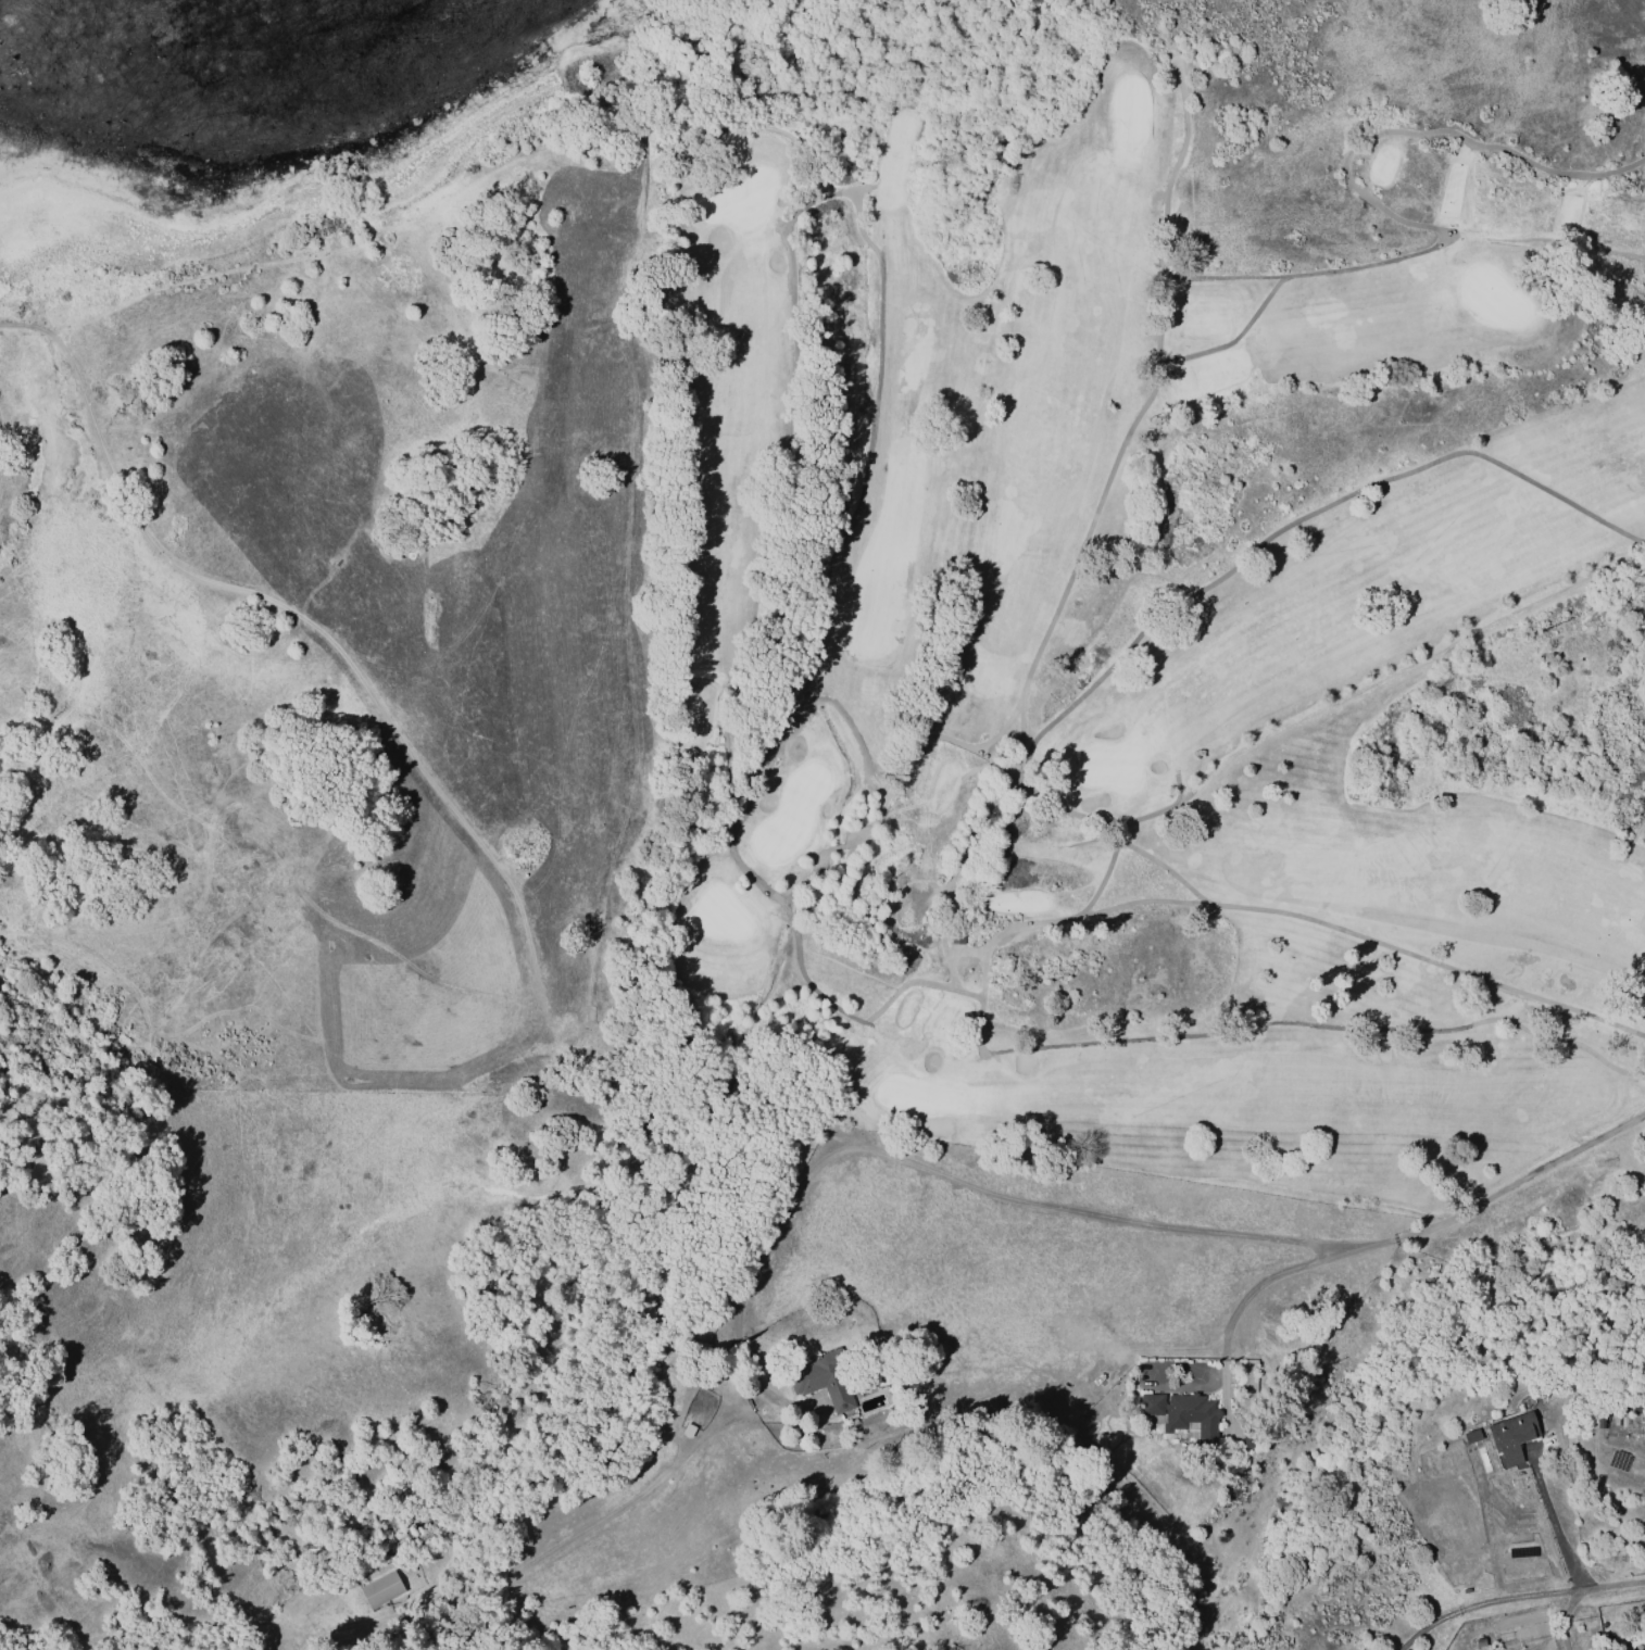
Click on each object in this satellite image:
road: (21, 319)
park: (1147, 635)
building: (956, 937)
road: (992, 1192)
road: (1505, 1197)
road: (1267, 1281)
building: (823, 1378)
building: (1151, 1402)
building: (1191, 1415)
road: (711, 1431)
building: (1510, 1434)
building: (1471, 1435)
building: (1246, 1438)
road: (579, 1535)
road: (1559, 1535)
building: (380, 1587)
road: (1516, 1599)
road: (1565, 1617)

